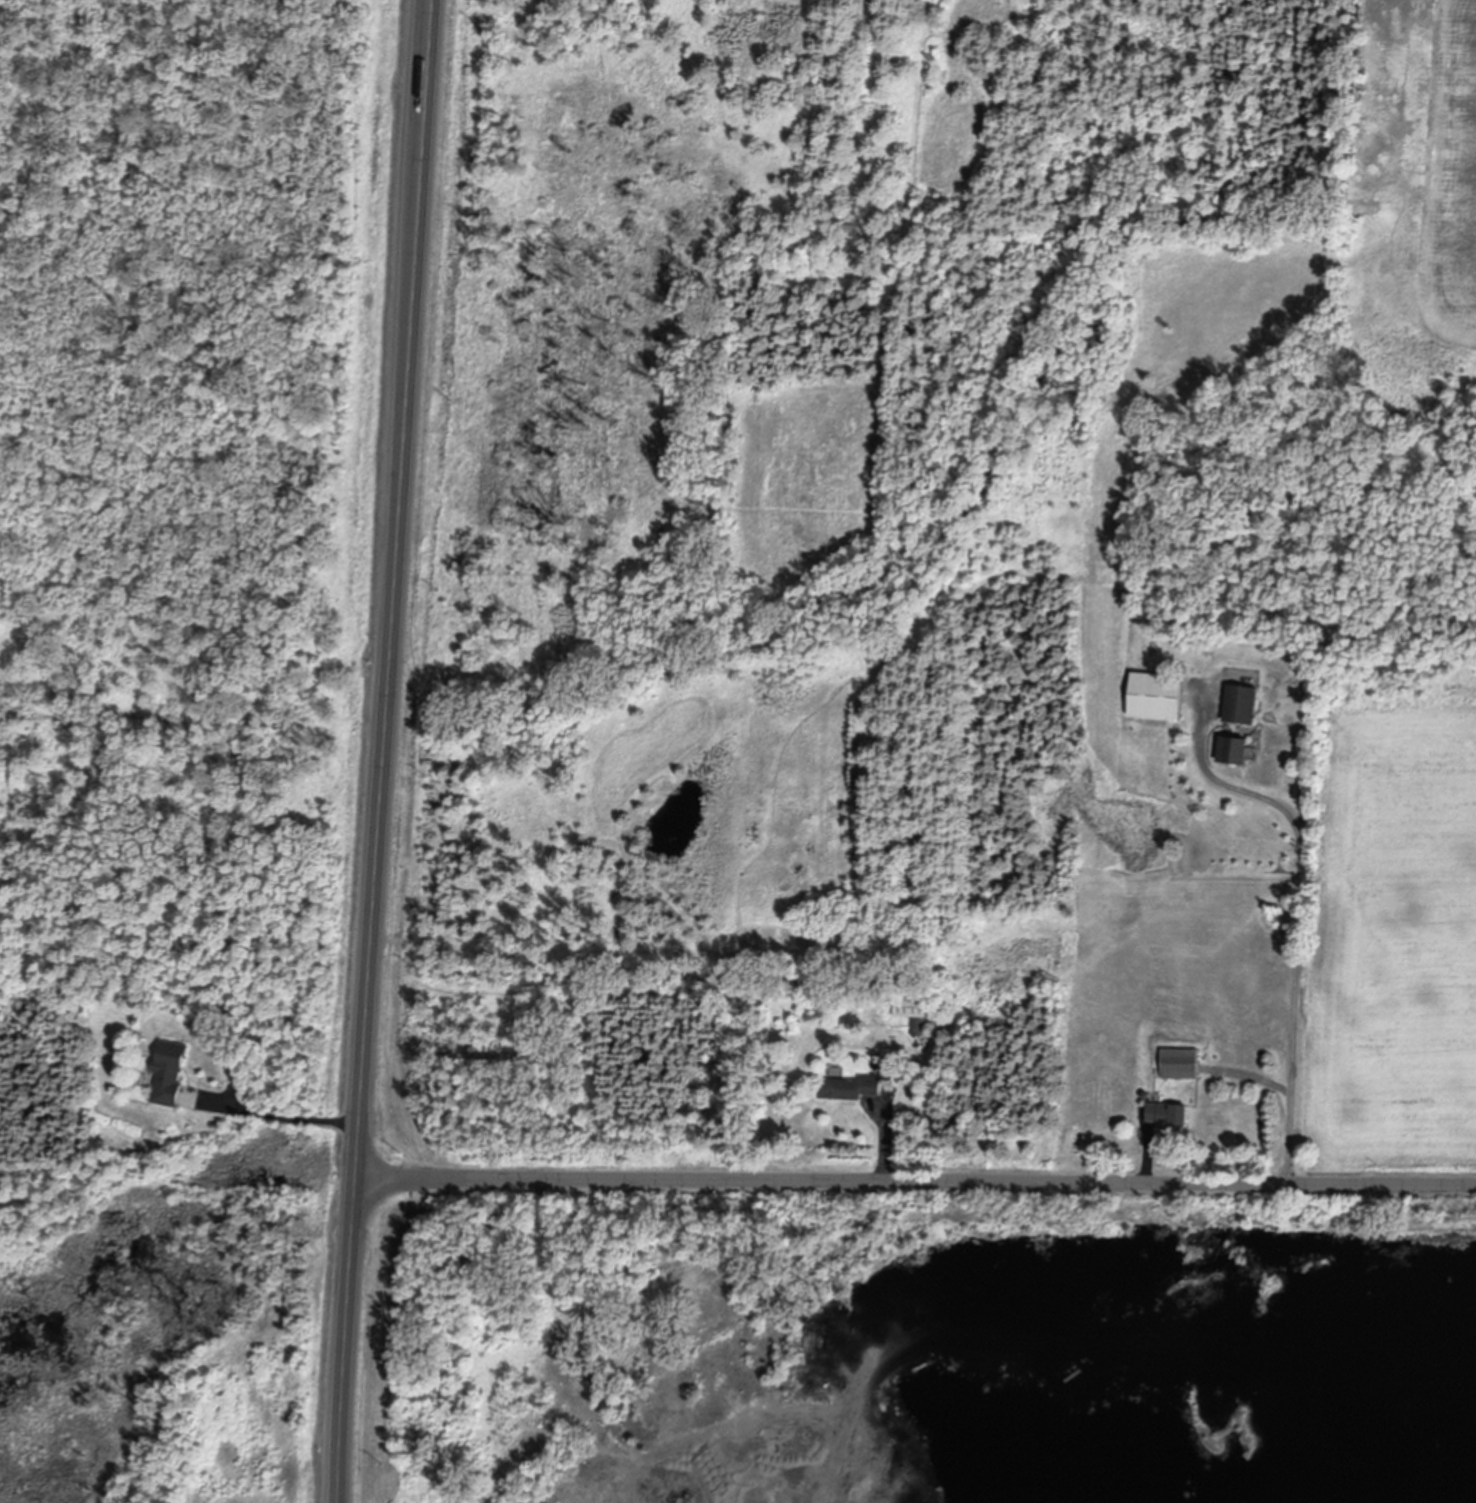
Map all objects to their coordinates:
building: (1156, 694)
building: (1241, 703)
building: (1233, 748)
road: (386, 751)
building: (813, 919)
road: (1299, 924)
building: (915, 1012)
building: (79, 1018)
building: (893, 1063)
building: (1181, 1063)
building: (170, 1073)
building: (850, 1087)
building: (1168, 1113)
road: (279, 1116)
road: (917, 1182)

